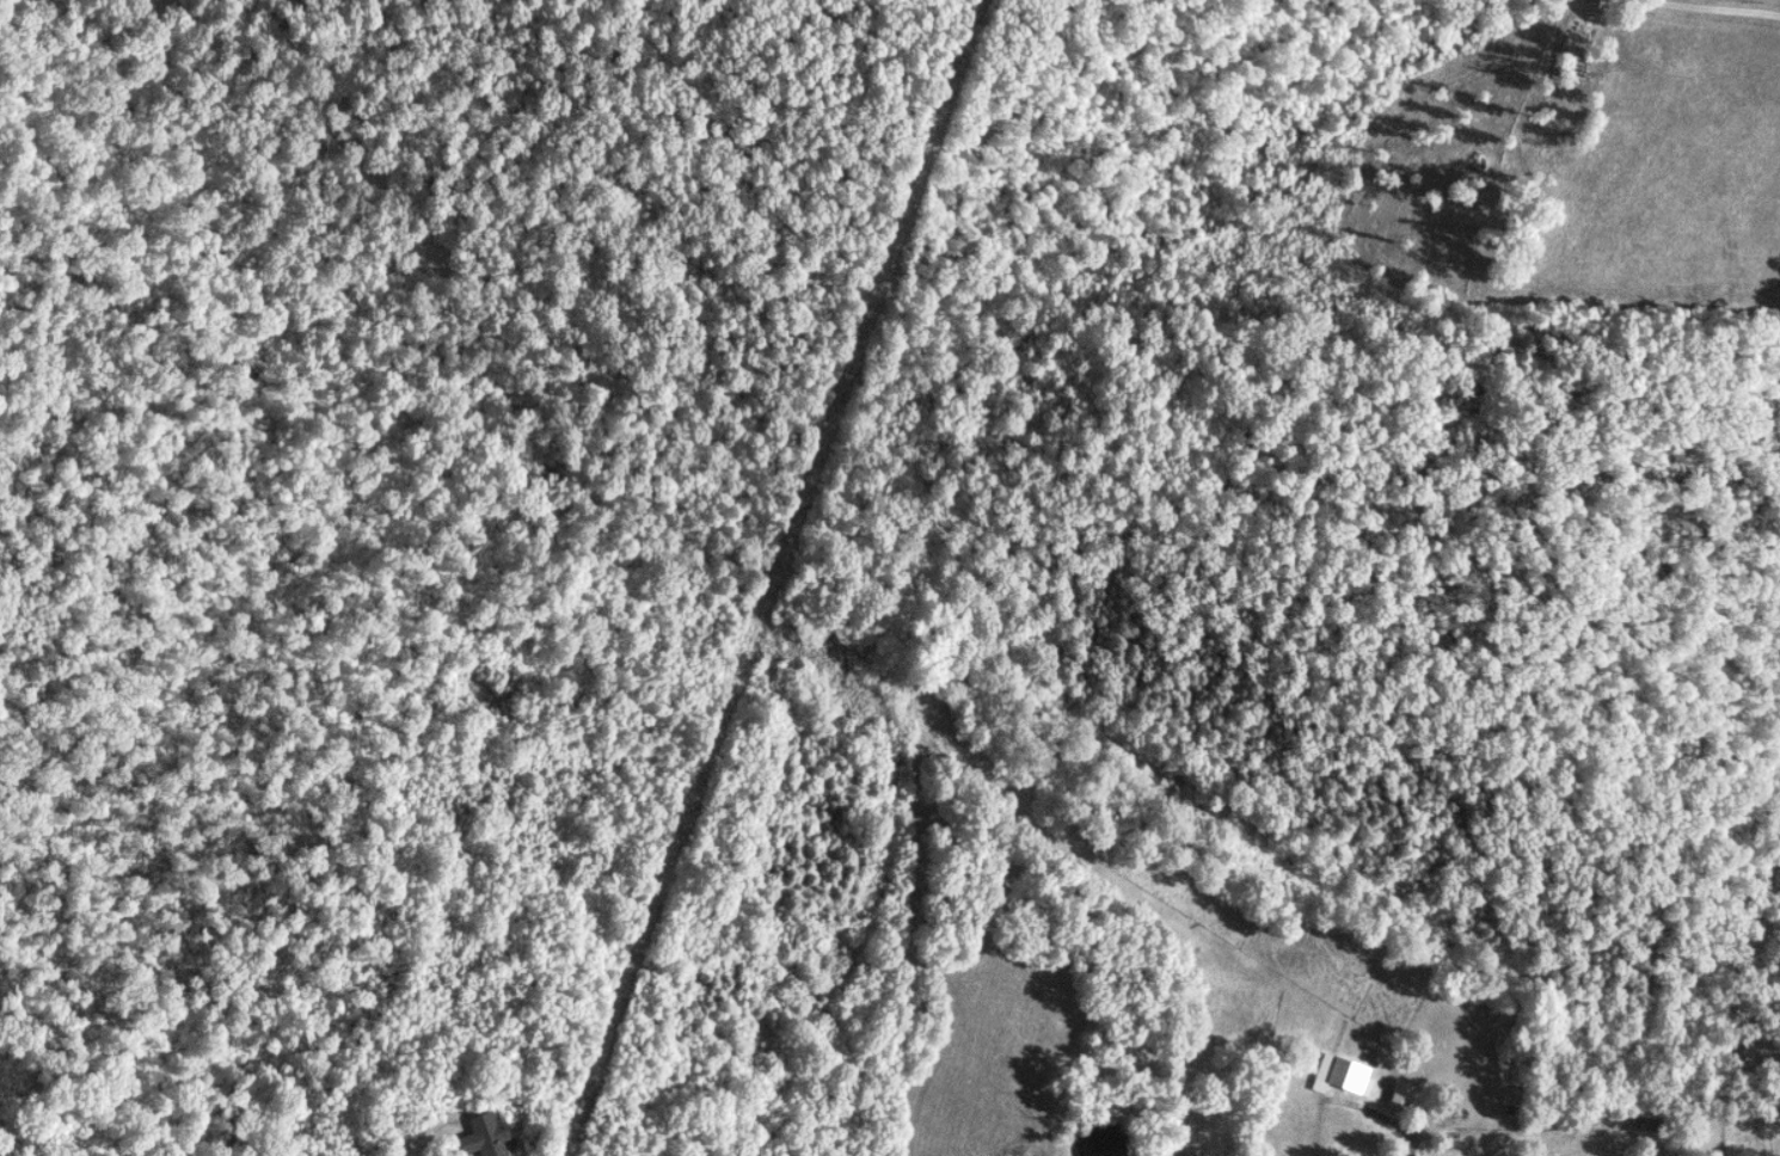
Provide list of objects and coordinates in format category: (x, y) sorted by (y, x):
road: (1708, 11)
building: (1344, 1076)
building: (1402, 1095)
road: (454, 1118)
building: (481, 1136)

